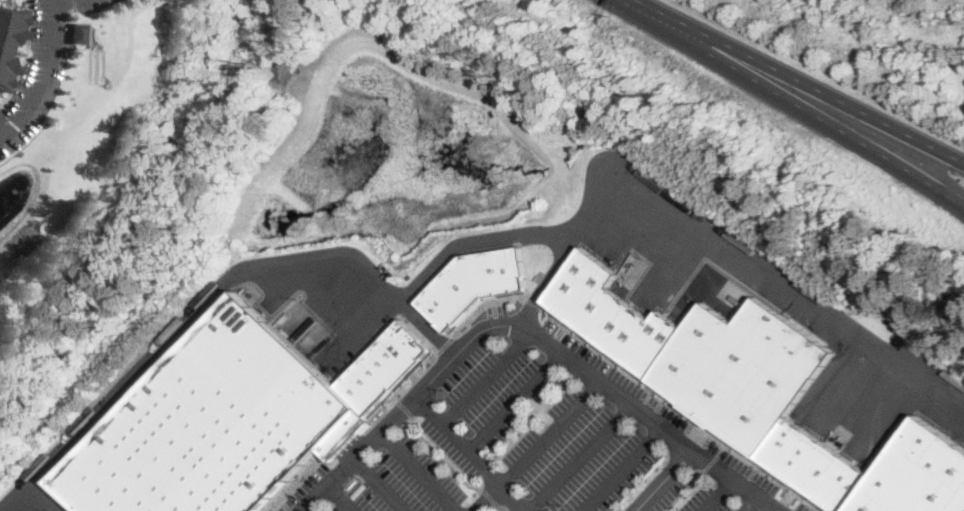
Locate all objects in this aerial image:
road: (56, 1)
parking lot: (89, 5)
building: (78, 32)
building: (8, 41)
parking lot: (37, 73)
road: (42, 74)
road: (802, 80)
road: (795, 101)
building: (2, 117)
road: (454, 252)
road: (553, 271)
building: (477, 283)
parking lot: (498, 310)
building: (643, 325)
road: (537, 326)
road: (431, 327)
building: (387, 366)
road: (490, 374)
building: (762, 376)
road: (519, 399)
parking lot: (489, 401)
parking lot: (663, 418)
building: (218, 424)
road: (556, 431)
building: (786, 442)
road: (475, 453)
parking lot: (584, 454)
road: (584, 455)
building: (803, 455)
road: (441, 457)
road: (715, 462)
road: (626, 468)
road: (422, 471)
building: (918, 474)
building: (835, 478)
road: (668, 479)
parking lot: (403, 482)
road: (383, 484)
parking lot: (304, 488)
building: (359, 490)
road: (689, 490)
parking lot: (675, 493)
road: (723, 494)
road: (492, 496)
road: (492, 497)
road: (340, 499)
parking lot: (713, 501)
road: (769, 506)
road: (506, 508)

